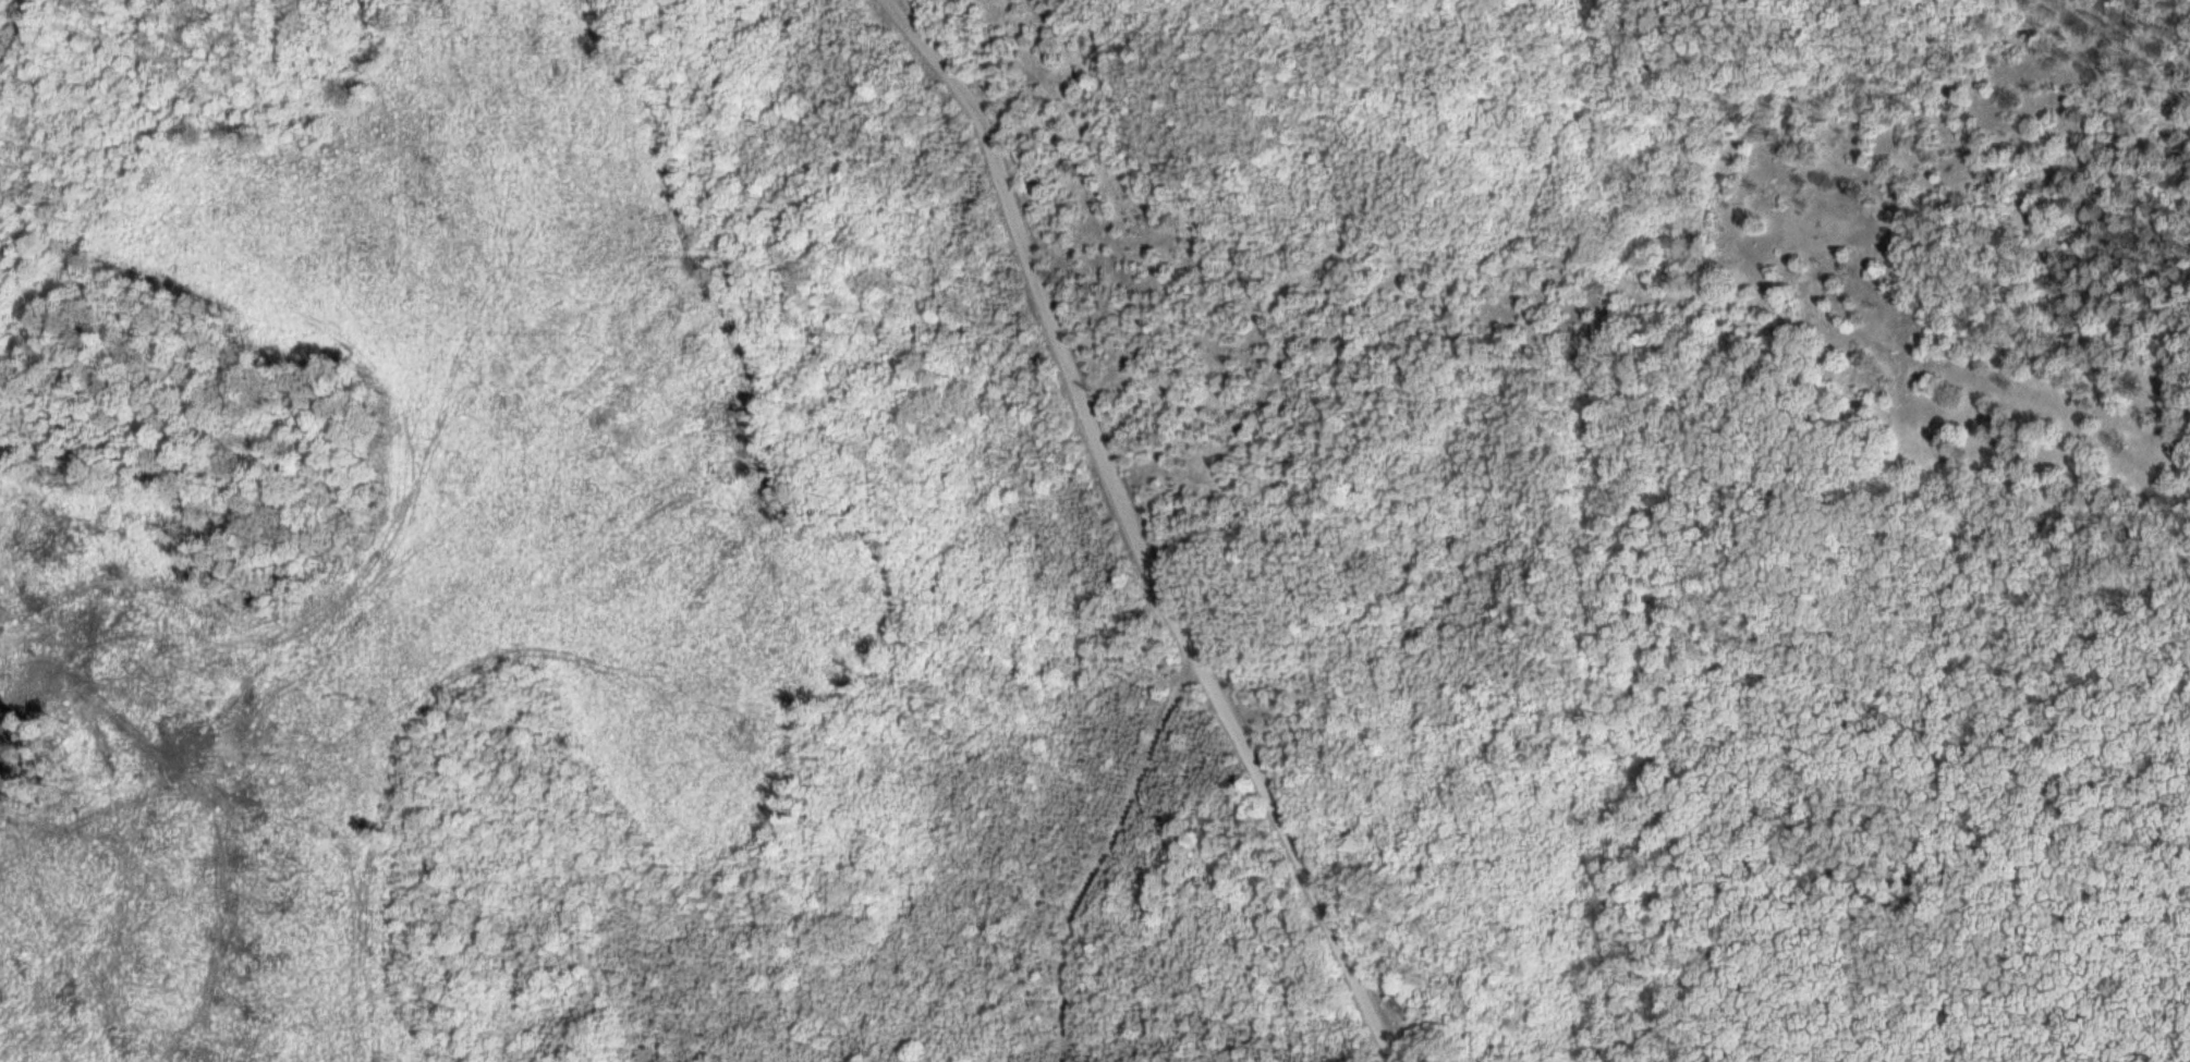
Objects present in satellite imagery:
road: (1129, 525)
road: (1109, 846)

